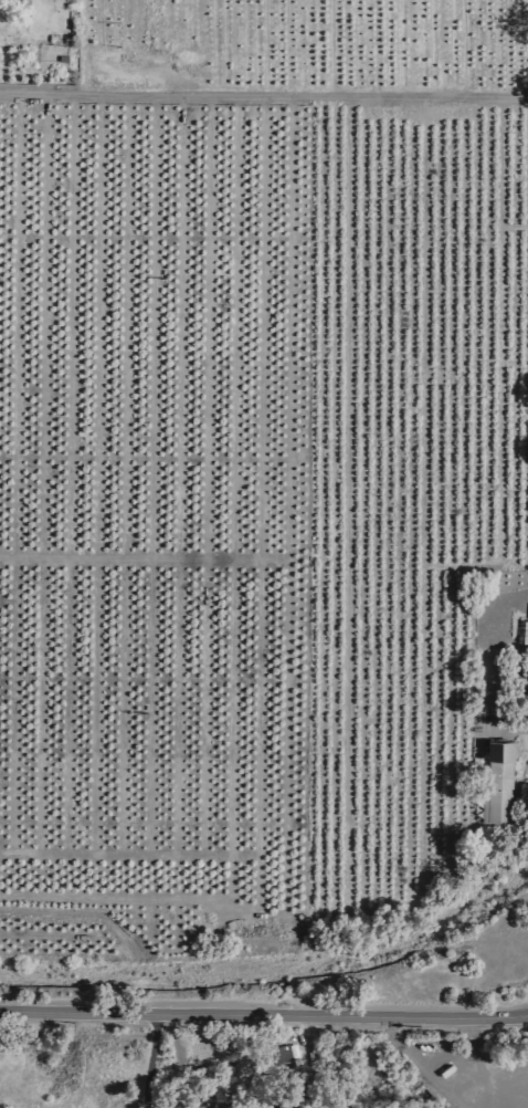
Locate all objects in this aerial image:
road: (263, 96)
building: (527, 633)
road: (504, 729)
building: (495, 782)
road: (264, 1017)
road: (155, 1063)

